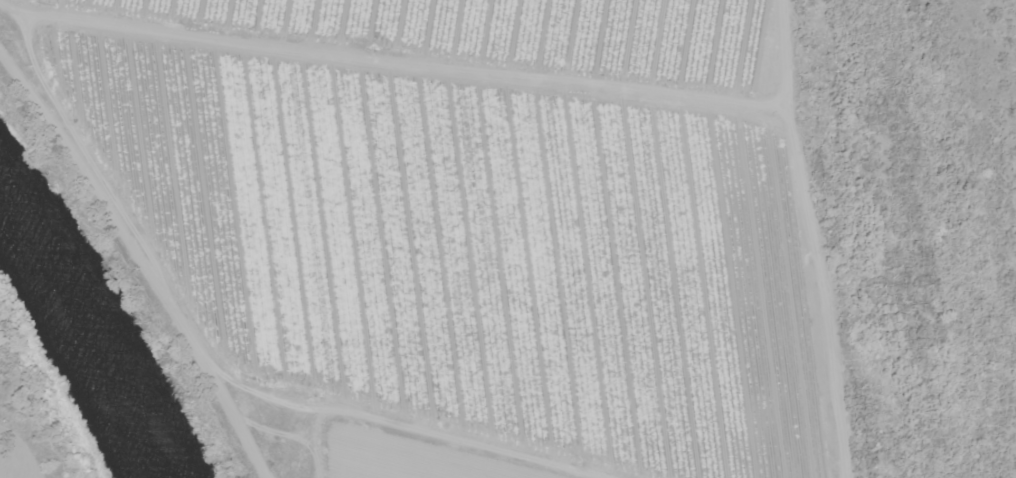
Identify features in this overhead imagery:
river: (86, 336)

